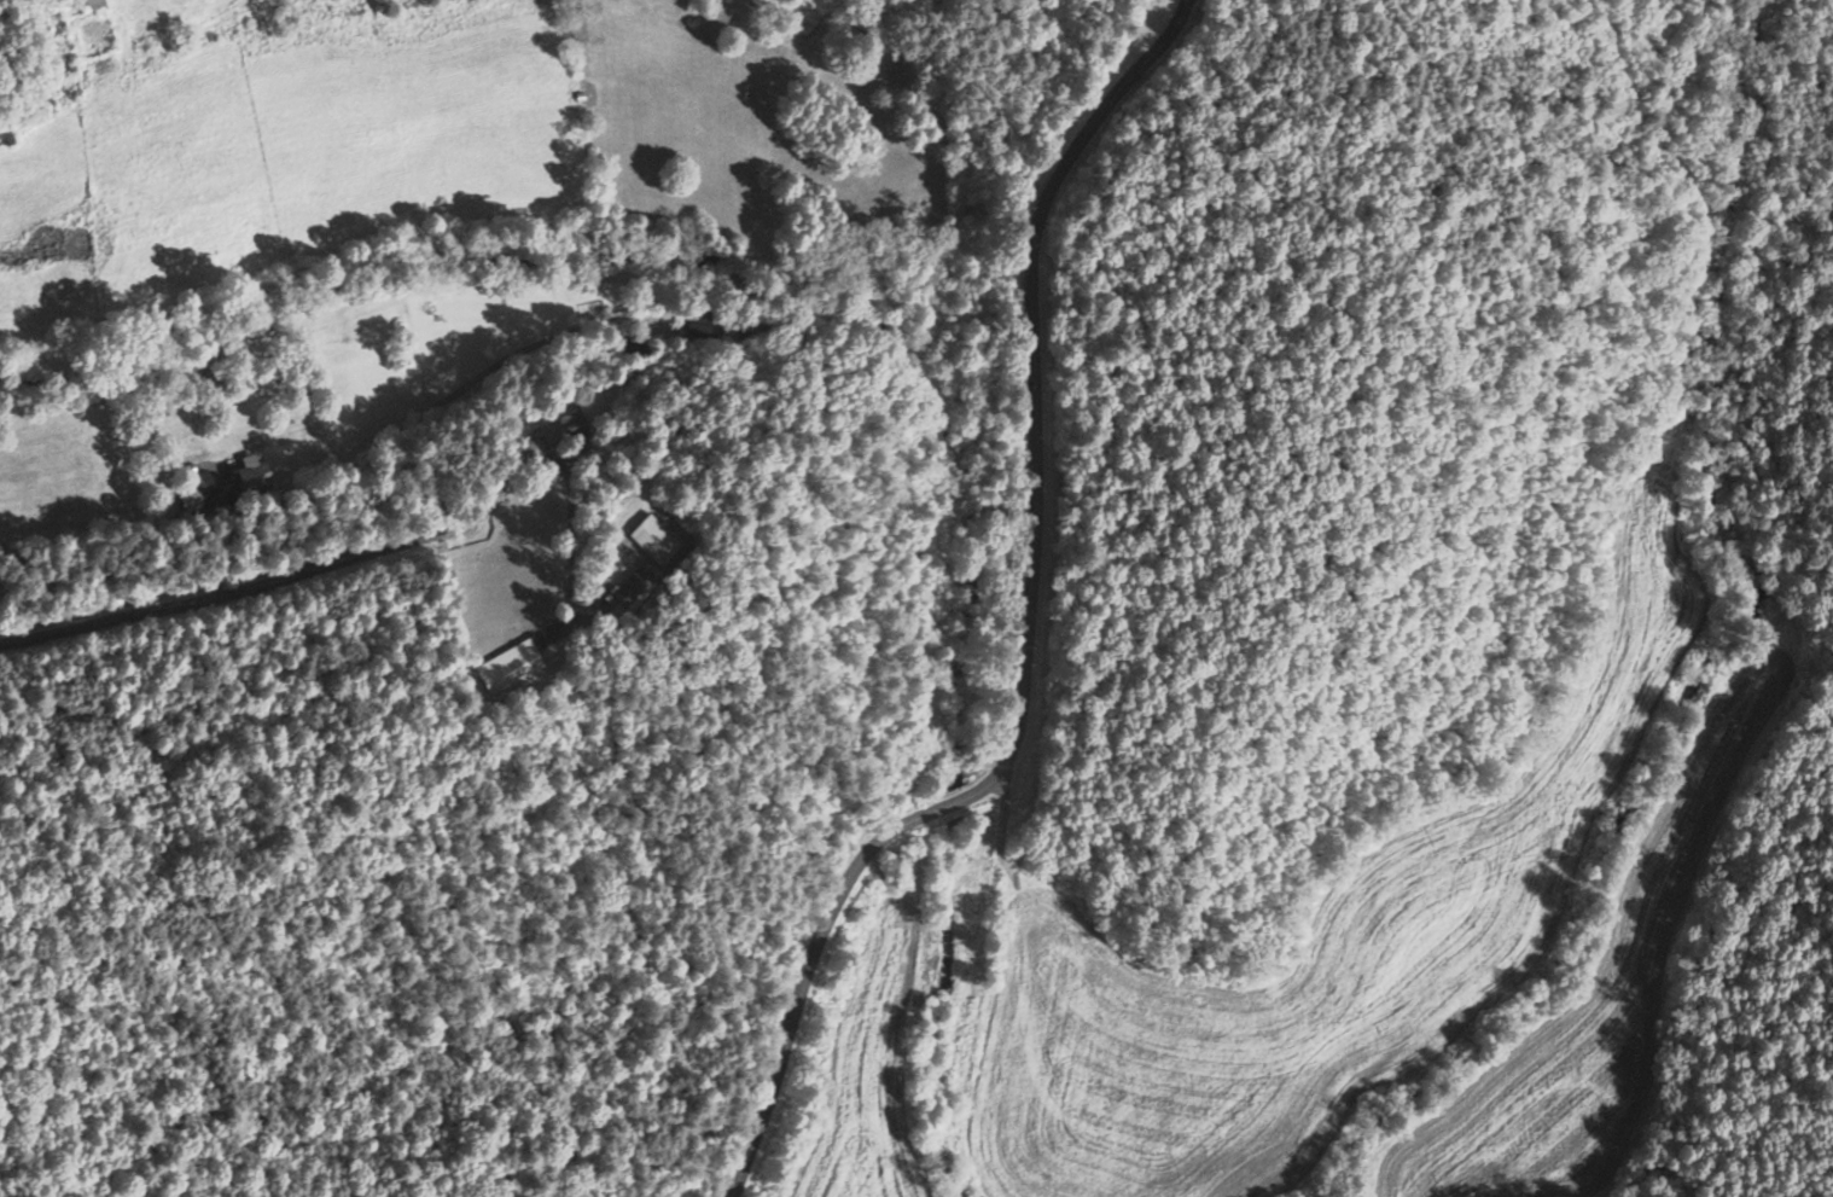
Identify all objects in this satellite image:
building: (94, 5)
building: (5, 139)
building: (568, 424)
building: (251, 472)
building: (208, 494)
building: (652, 540)
road: (235, 580)
building: (630, 588)
road: (1030, 629)
building: (505, 667)

